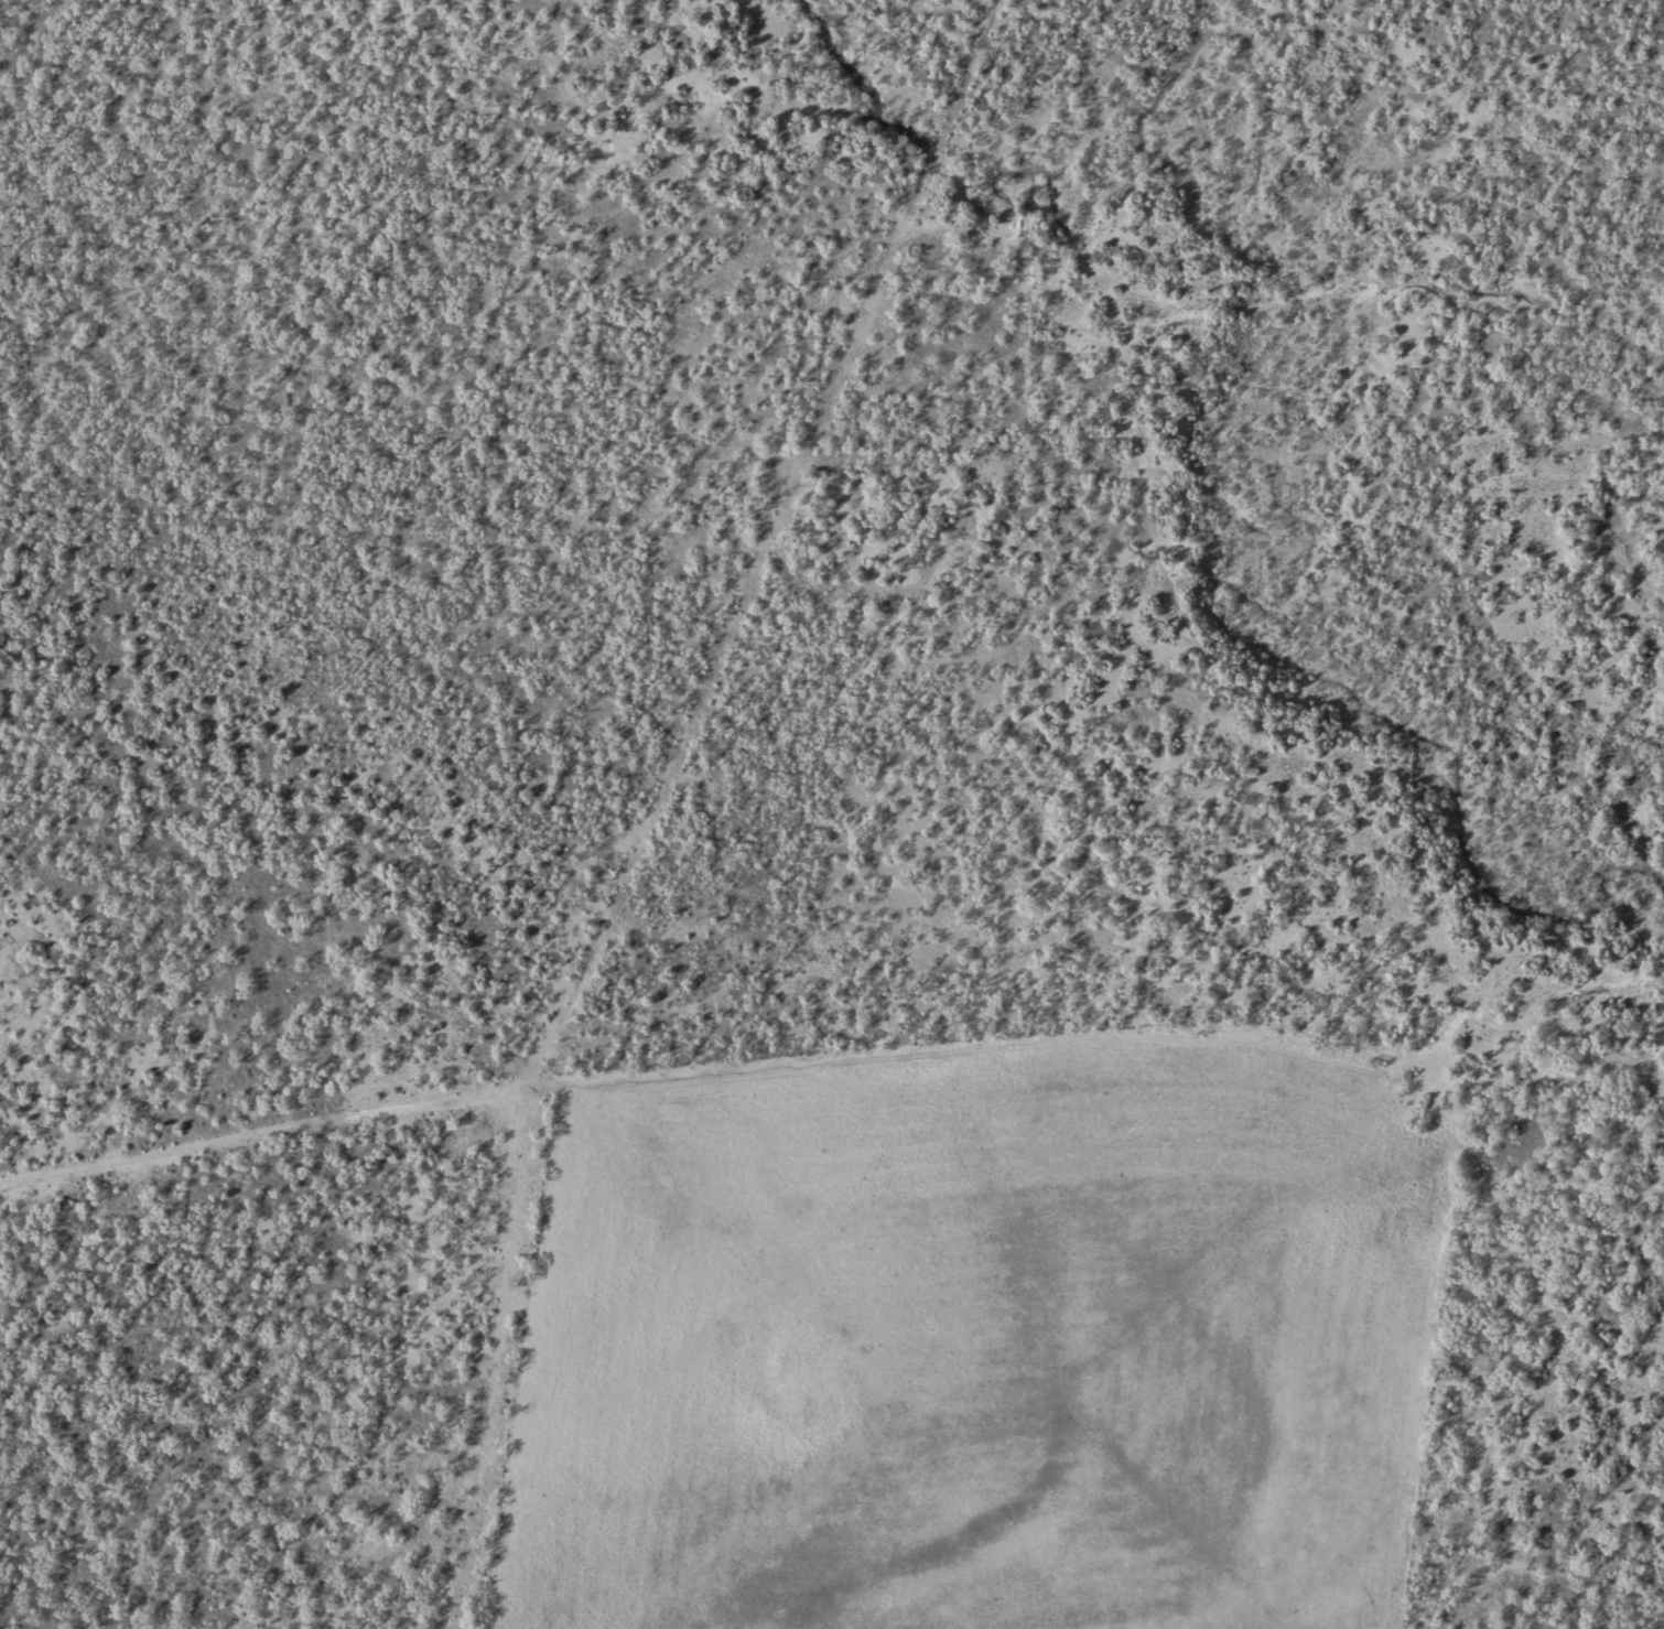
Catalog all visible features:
road: (1416, 1050)

